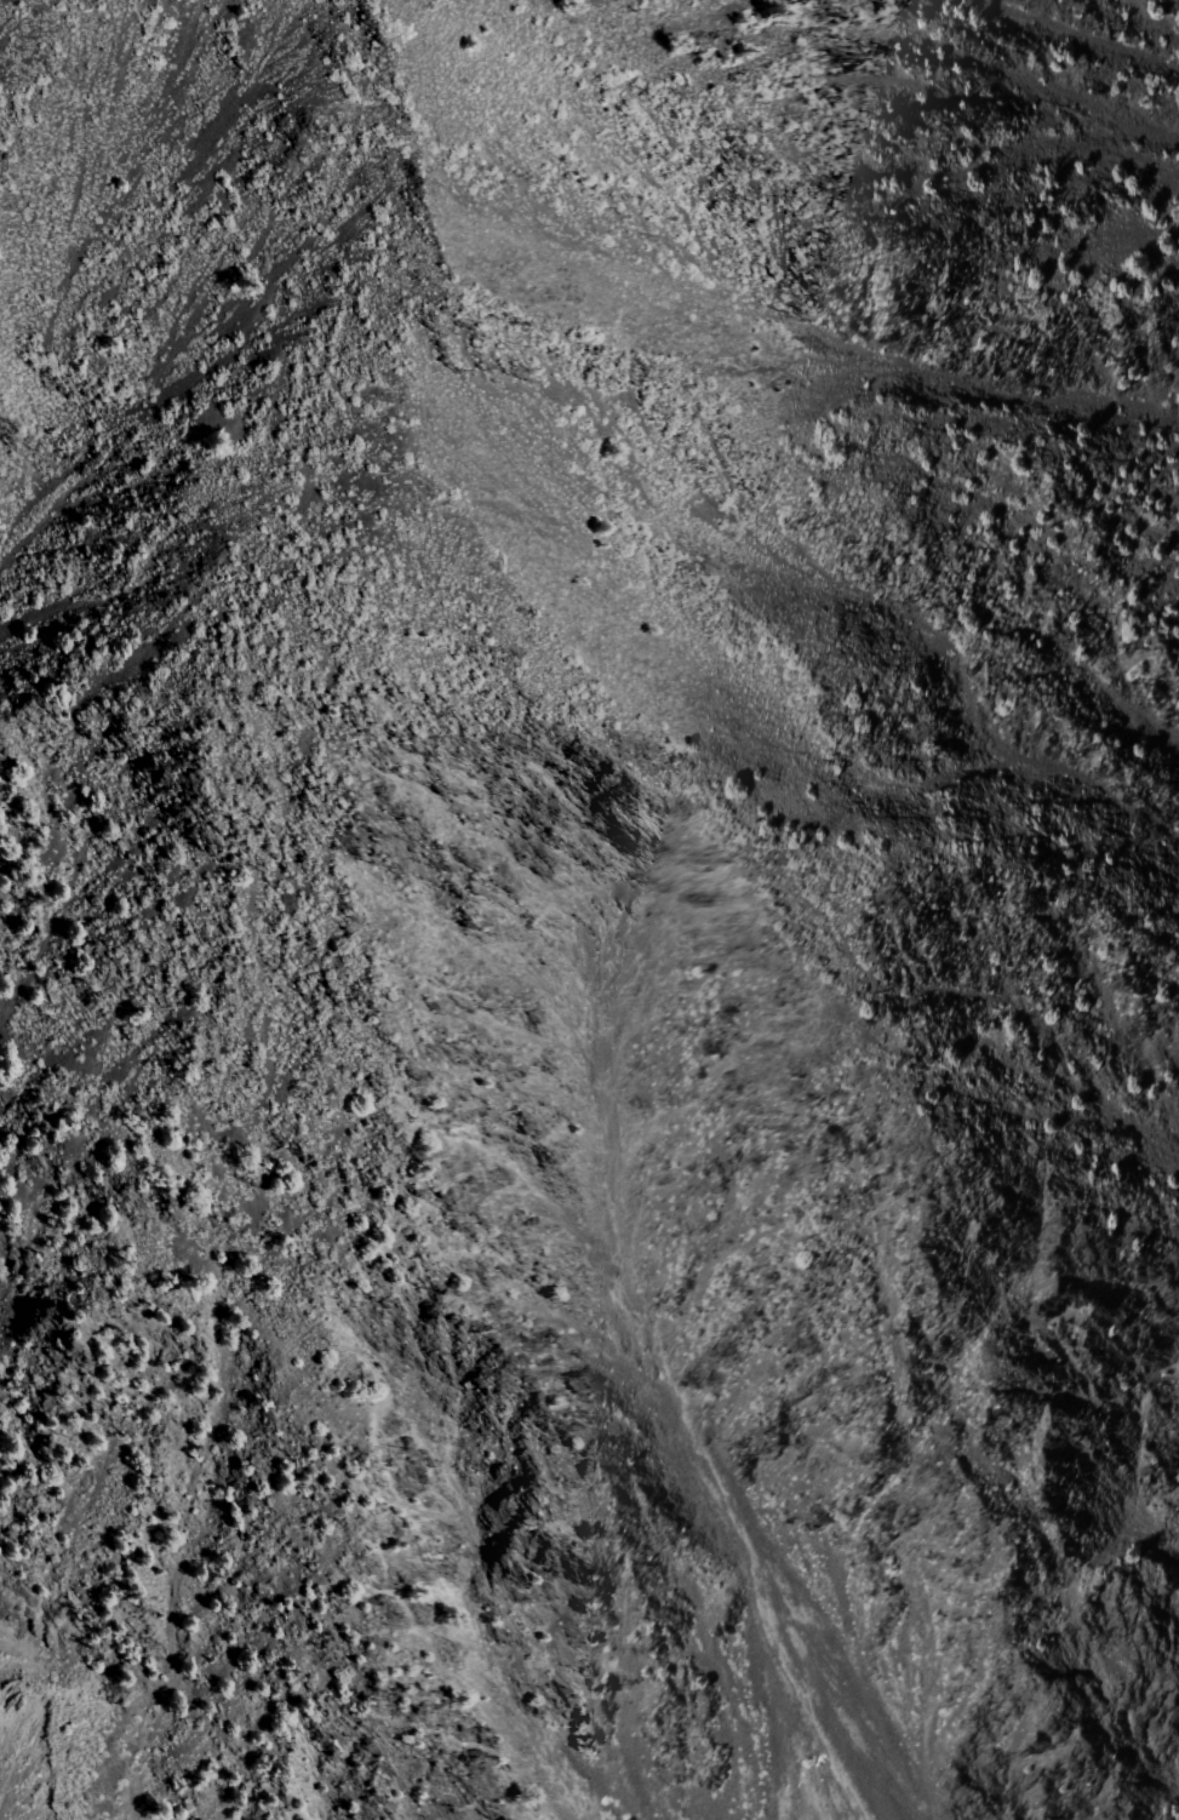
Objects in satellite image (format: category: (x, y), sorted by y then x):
road: (24, 1643)

